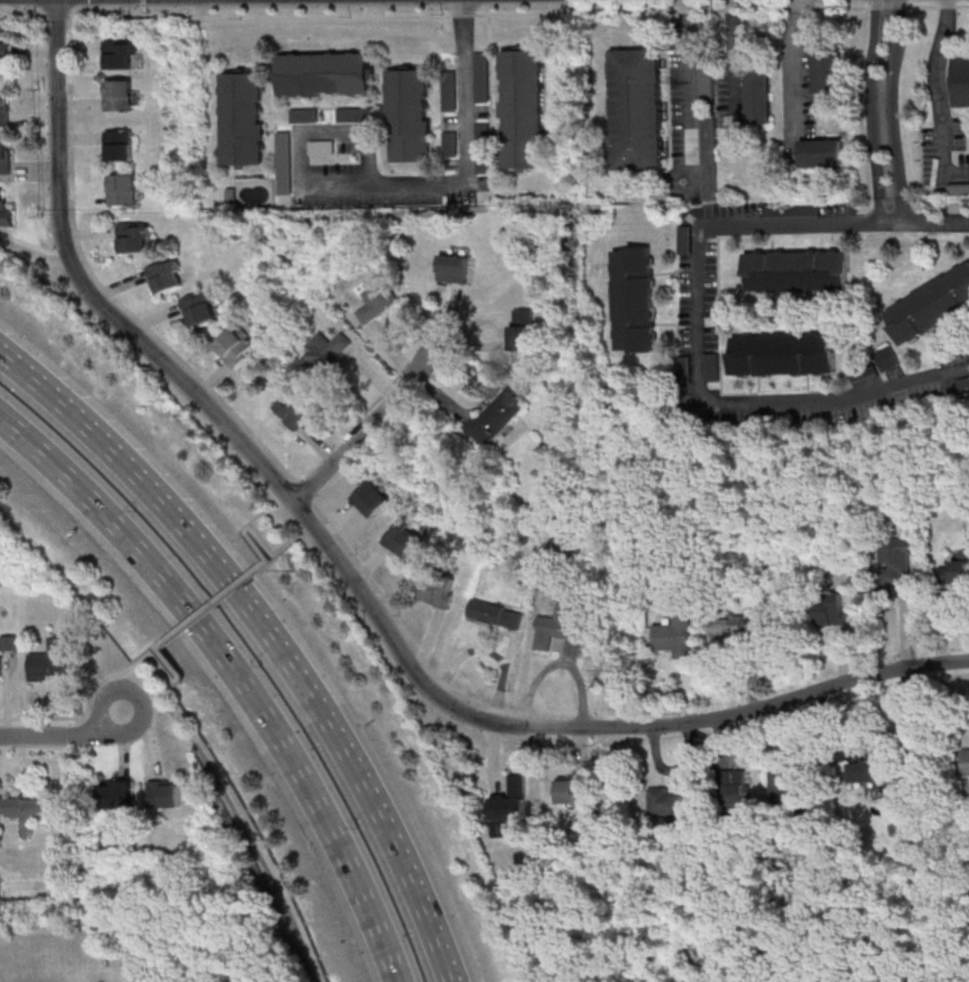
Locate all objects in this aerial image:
road: (67, 21)
building: (119, 54)
building: (4, 57)
road: (793, 68)
road: (732, 69)
building: (829, 71)
building: (325, 74)
building: (482, 77)
building: (962, 82)
building: (449, 90)
road: (690, 93)
building: (119, 95)
building: (759, 96)
road: (938, 99)
building: (522, 109)
building: (637, 109)
building: (5, 110)
road: (871, 110)
road: (892, 111)
building: (355, 114)
building: (304, 115)
building: (409, 116)
building: (243, 118)
building: (707, 126)
road: (301, 132)
road: (466, 142)
building: (450, 144)
building: (119, 145)
building: (483, 149)
building: (822, 154)
building: (5, 155)
building: (284, 163)
building: (123, 189)
building: (958, 189)
building: (231, 196)
building: (791, 210)
building: (6, 211)
building: (135, 237)
building: (683, 240)
building: (453, 268)
building: (797, 271)
building: (167, 275)
building: (377, 299)
building: (635, 300)
building: (930, 305)
building: (202, 307)
road: (698, 316)
building: (522, 330)
building: (237, 346)
building: (327, 349)
building: (782, 355)
building: (711, 367)
building: (684, 368)
road: (180, 379)
building: (962, 384)
building: (294, 410)
building: (496, 417)
road: (366, 427)
building: (371, 498)
building: (403, 537)
road: (262, 542)
building: (894, 561)
building: (955, 570)
building: (440, 589)
road: (211, 604)
building: (832, 608)
building: (496, 613)
building: (732, 626)
building: (576, 627)
road: (268, 636)
building: (675, 636)
building: (9, 642)
building: (52, 660)
building: (1, 667)
road: (233, 675)
road: (103, 713)
road: (79, 716)
road: (710, 719)
road: (552, 723)
road: (65, 736)
building: (965, 762)
road: (209, 764)
building: (865, 770)
building: (573, 788)
building: (783, 790)
building: (734, 791)
building: (165, 793)
building: (116, 794)
building: (512, 801)
building: (667, 802)
building: (23, 807)
road: (940, 974)

